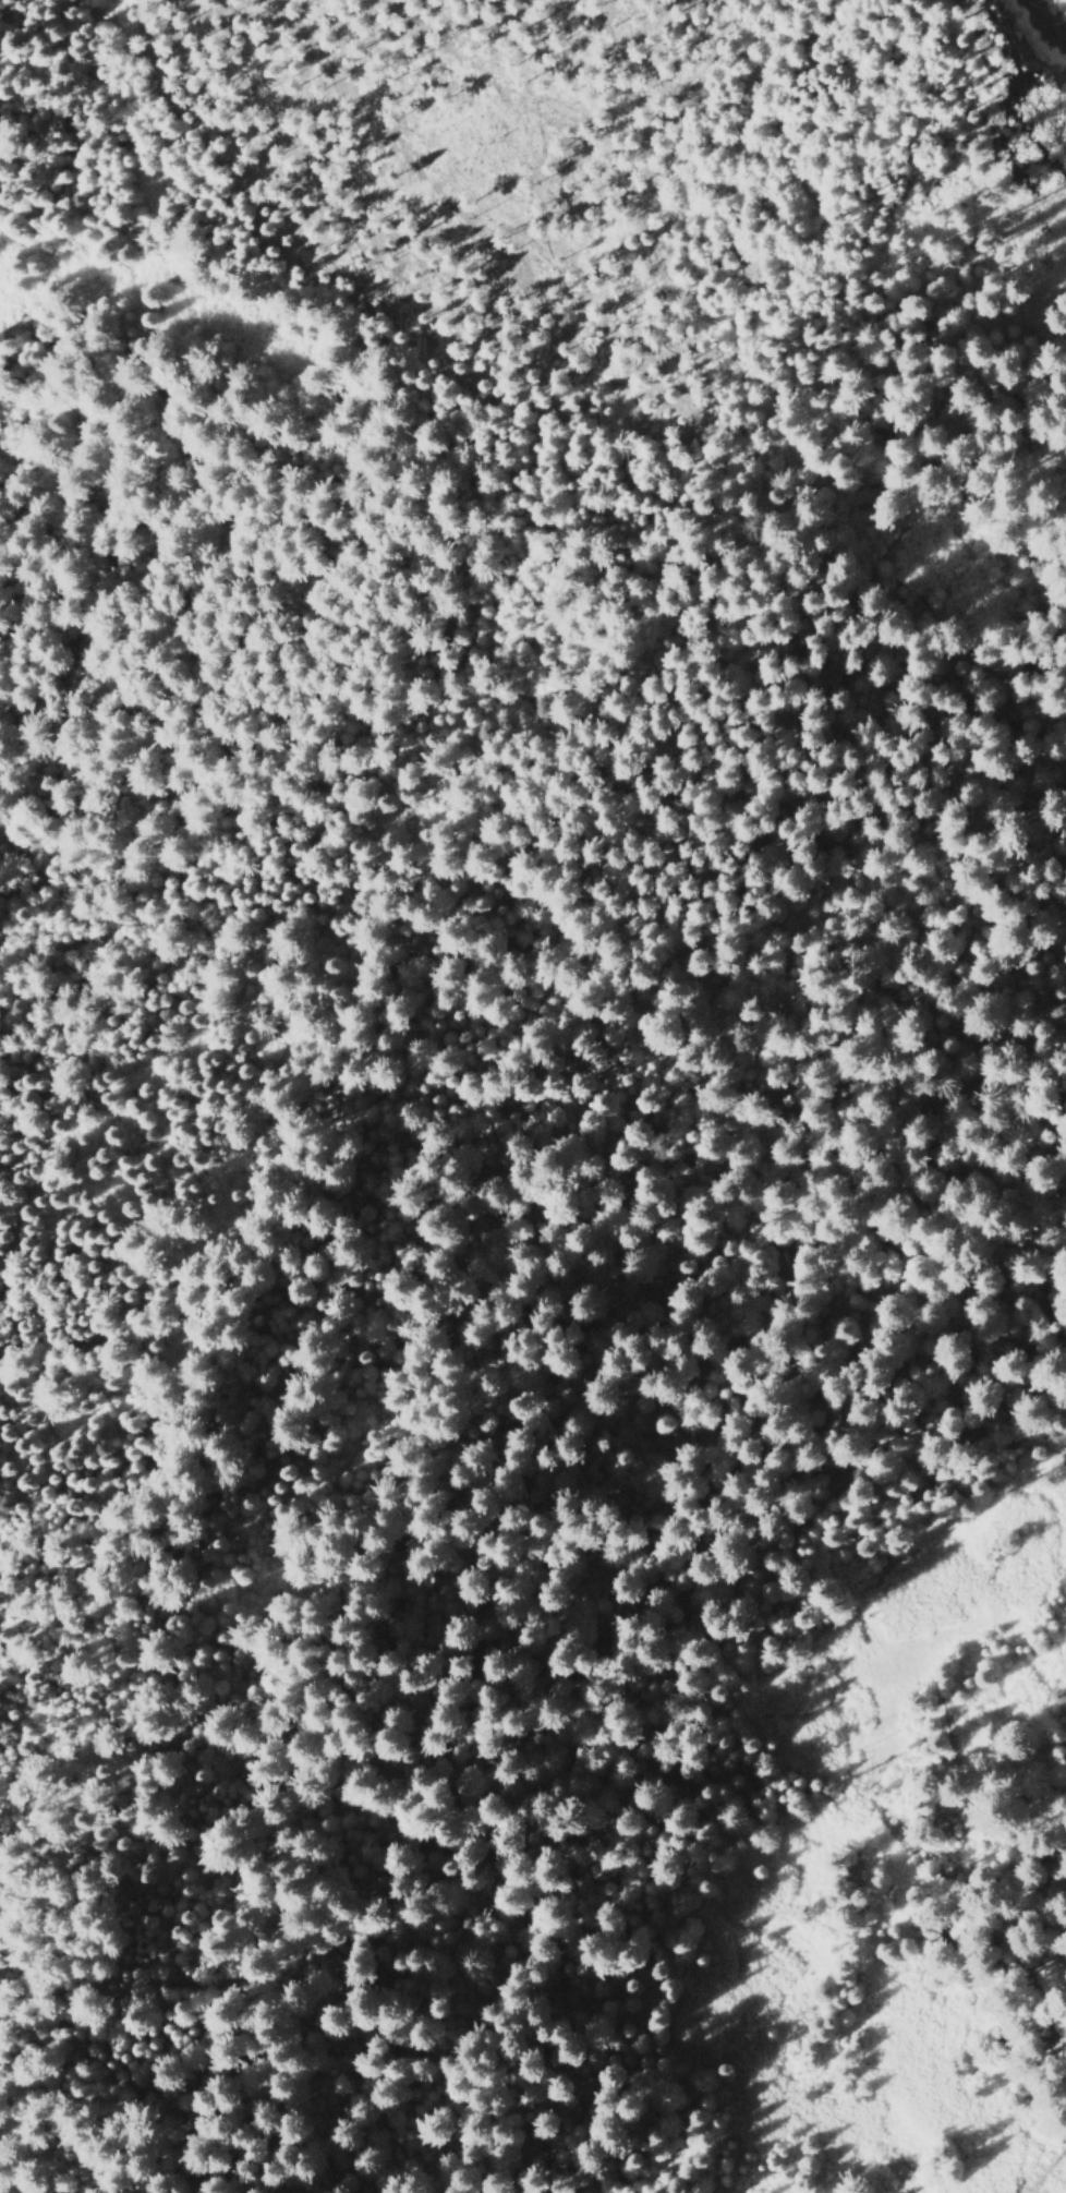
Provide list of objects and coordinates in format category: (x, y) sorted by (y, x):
road: (108, 44)
road: (238, 945)

